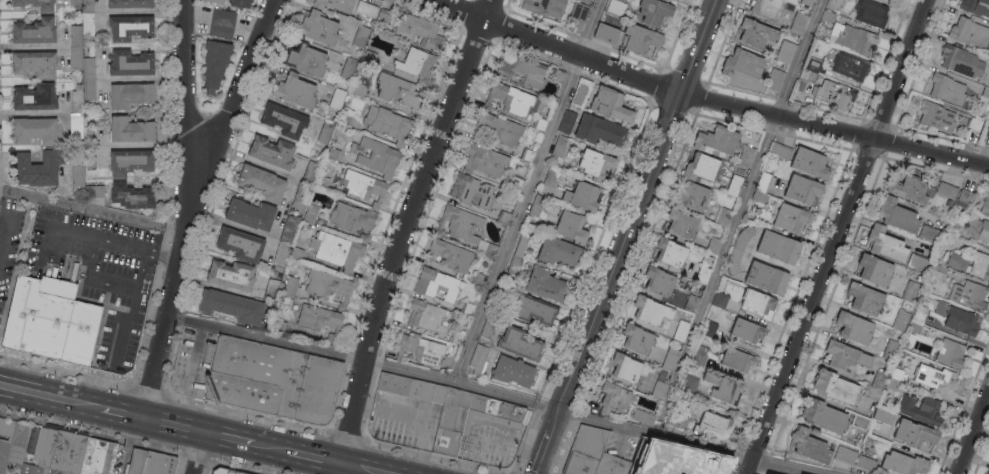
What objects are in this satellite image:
building: (76, 1)
building: (217, 1)
building: (585, 1)
building: (807, 2)
building: (240, 3)
building: (36, 4)
building: (130, 4)
building: (335, 4)
building: (616, 6)
building: (88, 7)
building: (545, 7)
building: (976, 7)
building: (367, 8)
building: (766, 8)
building: (654, 11)
building: (871, 13)
building: (383, 15)
building: (578, 16)
building: (828, 16)
building: (223, 18)
building: (88, 24)
building: (798, 24)
building: (130, 27)
building: (317, 28)
building: (35, 31)
building: (221, 31)
building: (419, 31)
building: (969, 32)
building: (607, 33)
building: (757, 34)
building: (76, 36)
building: (360, 36)
building: (854, 37)
building: (640, 39)
building: (785, 51)
building: (369, 57)
building: (77, 58)
building: (305, 59)
building: (961, 61)
building: (34, 63)
building: (131, 63)
building: (215, 64)
building: (417, 64)
building: (813, 64)
building: (742, 65)
building: (850, 66)
building: (89, 68)
building: (349, 68)
building: (523, 70)
building: (808, 75)
building: (559, 76)
building: (775, 79)
road: (184, 86)
building: (947, 88)
building: (358, 89)
building: (89, 90)
building: (295, 90)
building: (399, 90)
building: (986, 92)
building: (130, 94)
building: (580, 94)
building: (835, 94)
building: (35, 97)
building: (77, 99)
building: (337, 99)
building: (512, 100)
road: (706, 101)
building: (610, 105)
building: (938, 116)
building: (347, 117)
building: (284, 120)
building: (976, 121)
building: (567, 122)
building: (540, 123)
building: (391, 125)
building: (76, 127)
building: (131, 129)
building: (499, 129)
building: (986, 129)
building: (35, 130)
building: (599, 130)
building: (326, 131)
building: (90, 137)
building: (717, 140)
building: (560, 147)
building: (781, 151)
building: (272, 152)
building: (333, 154)
building: (527, 155)
building: (377, 156)
building: (745, 156)
building: (90, 157)
building: (484, 160)
building: (130, 161)
building: (595, 163)
building: (810, 163)
building: (37, 168)
building: (702, 168)
building: (574, 170)
building: (309, 172)
building: (78, 175)
building: (551, 177)
building: (323, 182)
building: (516, 182)
building: (764, 182)
building: (261, 183)
building: (735, 185)
building: (364, 186)
building: (803, 189)
building: (908, 189)
building: (947, 189)
building: (471, 190)
building: (94, 191)
road: (526, 191)
building: (691, 195)
building: (132, 196)
building: (301, 196)
building: (582, 196)
building: (760, 198)
building: (963, 199)
road: (187, 202)
building: (949, 203)
building: (537, 206)
building: (985, 207)
road: (91, 209)
building: (250, 213)
building: (310, 214)
building: (897, 215)
building: (352, 217)
building: (504, 217)
building: (724, 217)
road: (736, 217)
building: (791, 218)
road: (3, 221)
building: (681, 223)
building: (572, 227)
building: (953, 227)
building: (289, 228)
road: (405, 228)
building: (464, 228)
building: (978, 228)
building: (930, 233)
road: (835, 236)
road: (627, 237)
building: (363, 238)
building: (948, 240)
road: (128, 244)
building: (241, 244)
building: (886, 244)
building: (522, 245)
building: (714, 246)
building: (778, 247)
building: (739, 249)
building: (336, 250)
building: (557, 251)
road: (161, 252)
building: (670, 252)
building: (281, 253)
building: (297, 253)
building: (449, 254)
building: (707, 260)
building: (919, 262)
building: (515, 265)
building: (973, 268)
building: (874, 269)
road: (140, 270)
building: (149, 271)
building: (938, 271)
building: (702, 274)
building: (231, 275)
road: (87, 276)
building: (766, 278)
building: (479, 279)
building: (659, 281)
building: (437, 284)
building: (545, 284)
building: (281, 286)
building: (291, 286)
building: (328, 286)
building: (271, 290)
building: (910, 291)
building: (969, 295)
building: (865, 298)
building: (720, 300)
building: (498, 302)
building: (758, 303)
building: (691, 304)
building: (232, 306)
building: (466, 307)
building: (533, 309)
building: (650, 310)
building: (920, 313)
building: (429, 316)
building: (958, 318)
building: (50, 321)
building: (320, 321)
building: (901, 321)
road: (126, 324)
building: (489, 325)
building: (279, 327)
building: (915, 327)
building: (854, 328)
building: (710, 329)
building: (681, 330)
building: (747, 331)
road: (140, 337)
building: (456, 337)
building: (637, 339)
building: (520, 344)
building: (890, 350)
building: (424, 351)
building: (951, 353)
building: (700, 355)
building: (844, 355)
building: (670, 359)
building: (479, 360)
building: (736, 360)
building: (625, 368)
building: (513, 371)
building: (899, 374)
building: (935, 378)
building: (878, 379)
building: (273, 381)
building: (892, 384)
building: (689, 385)
building: (835, 387)
building: (412, 388)
building: (723, 388)
building: (658, 390)
road: (492, 393)
building: (872, 393)
road: (51, 397)
building: (614, 398)
building: (920, 409)
road: (121, 413)
building: (824, 416)
building: (884, 416)
building: (642, 418)
building: (678, 420)
building: (860, 422)
building: (713, 424)
road: (170, 425)
building: (450, 429)
road: (972, 431)
building: (914, 433)
road: (227, 437)
building: (19, 439)
building: (809, 446)
road: (271, 447)
building: (55, 452)
road: (196, 453)
building: (3, 455)
building: (593, 455)
building: (845, 455)
building: (98, 457)
road: (315, 457)
building: (647, 460)
building: (137, 461)
building: (672, 463)
building: (866, 463)
building: (904, 463)
building: (159, 464)
road: (363, 468)
building: (225, 471)
road: (514, 472)
building: (988, 472)
building: (768, 473)

